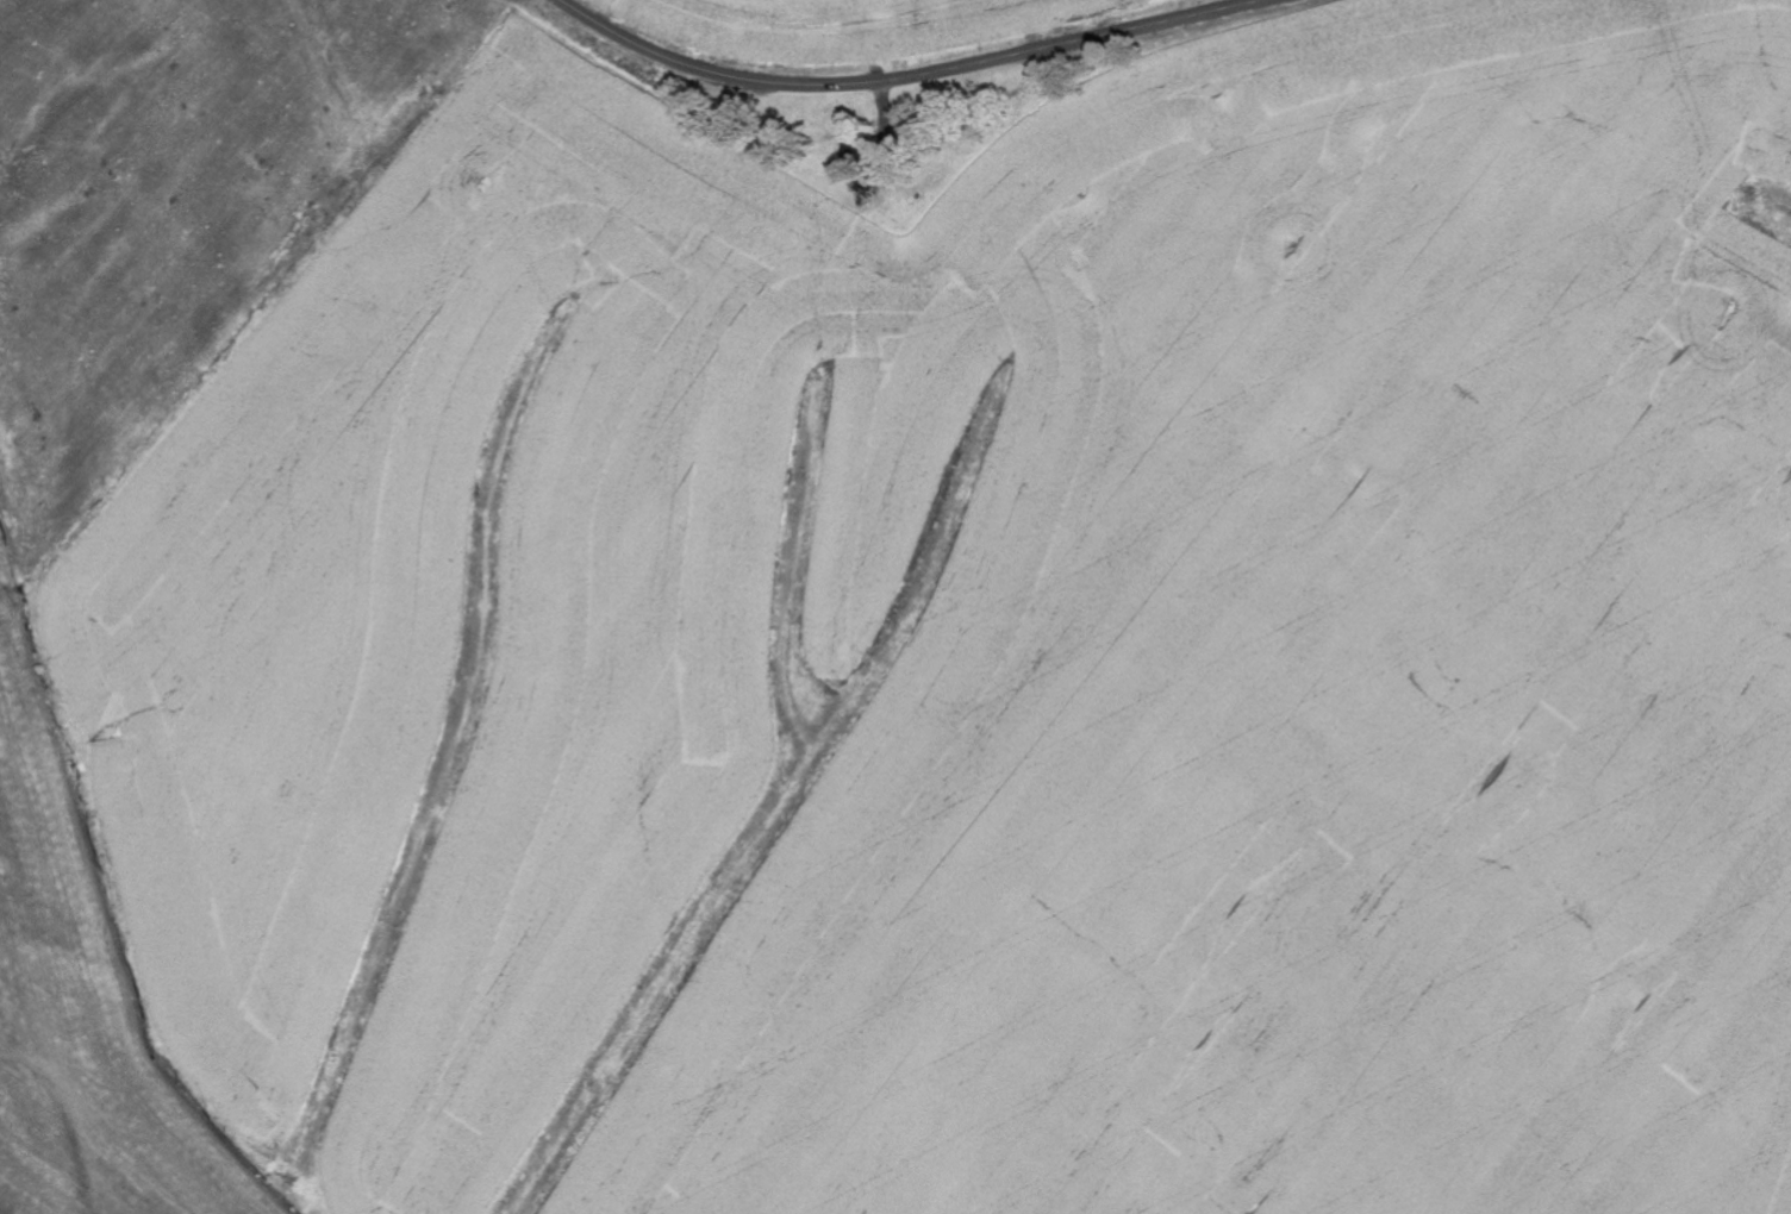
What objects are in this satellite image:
road: (899, 79)

